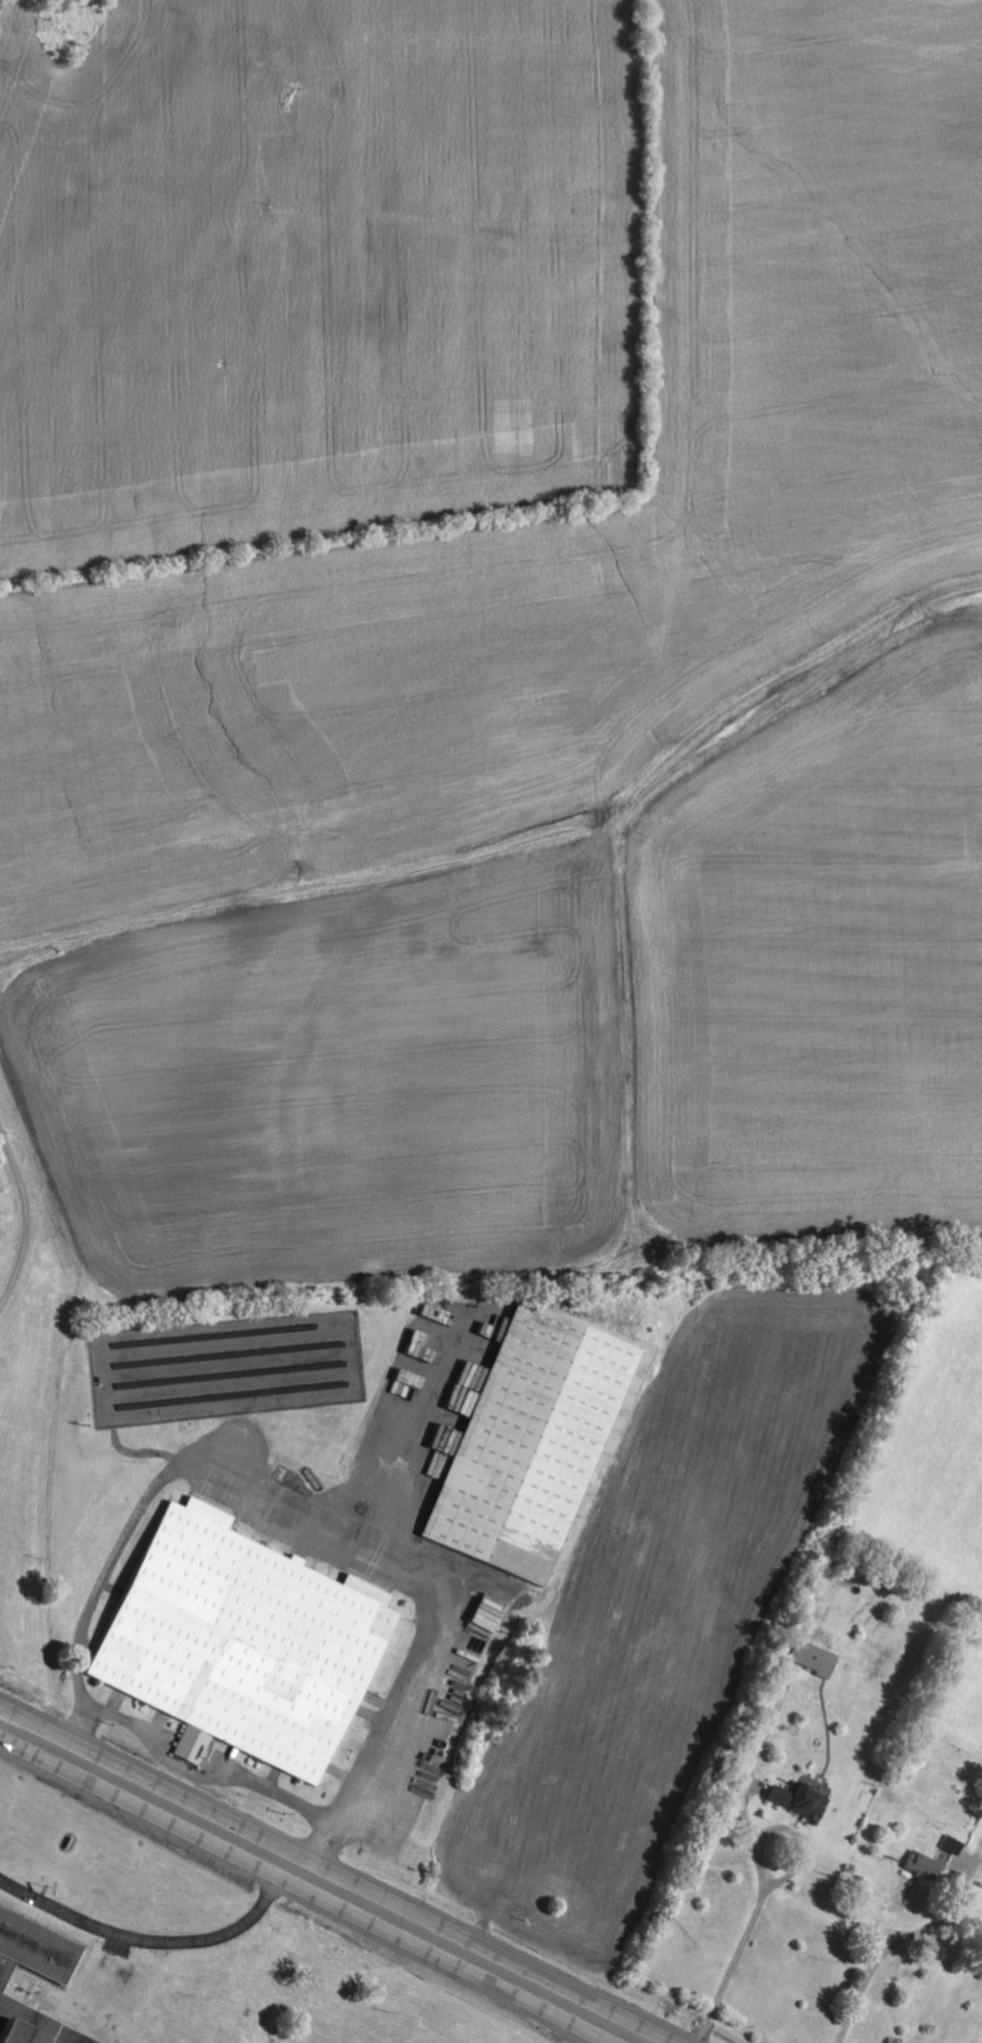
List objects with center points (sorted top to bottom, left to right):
road: (27, 1220)
building: (461, 1406)
building: (531, 1443)
road: (206, 1463)
building: (487, 1616)
building: (242, 1643)
building: (814, 1660)
road: (80, 1731)
building: (800, 1803)
road: (792, 1833)
building: (922, 1867)
road: (321, 1882)
road: (155, 1945)
road: (896, 1947)
building: (35, 1951)
road: (735, 1966)
building: (8, 2032)

